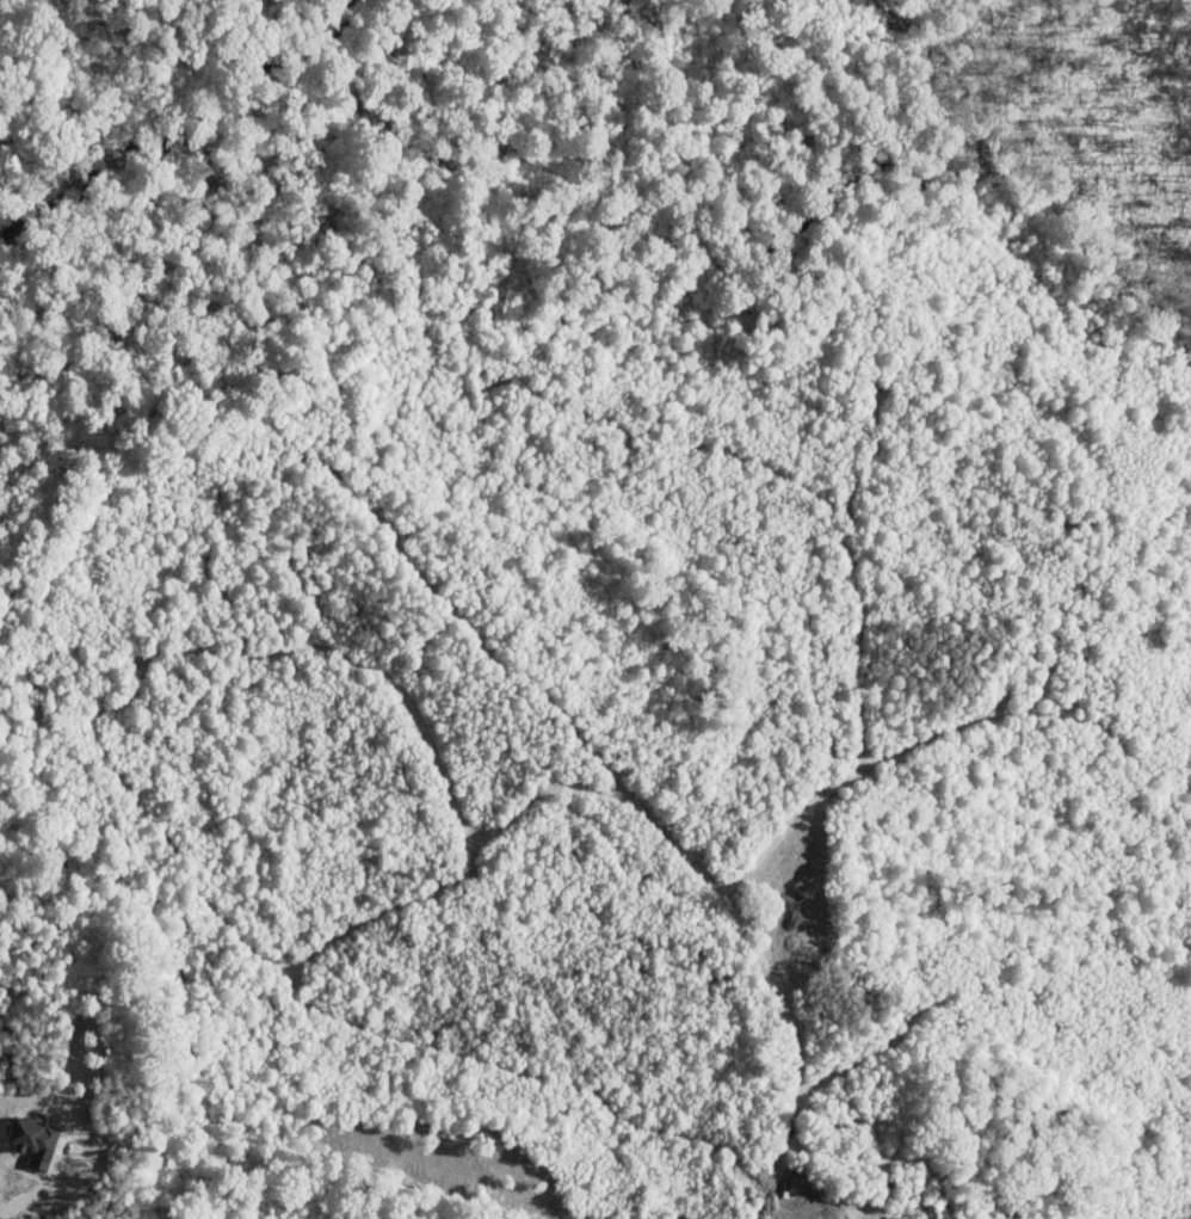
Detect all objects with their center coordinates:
building: (33, 1140)
road: (41, 1183)

